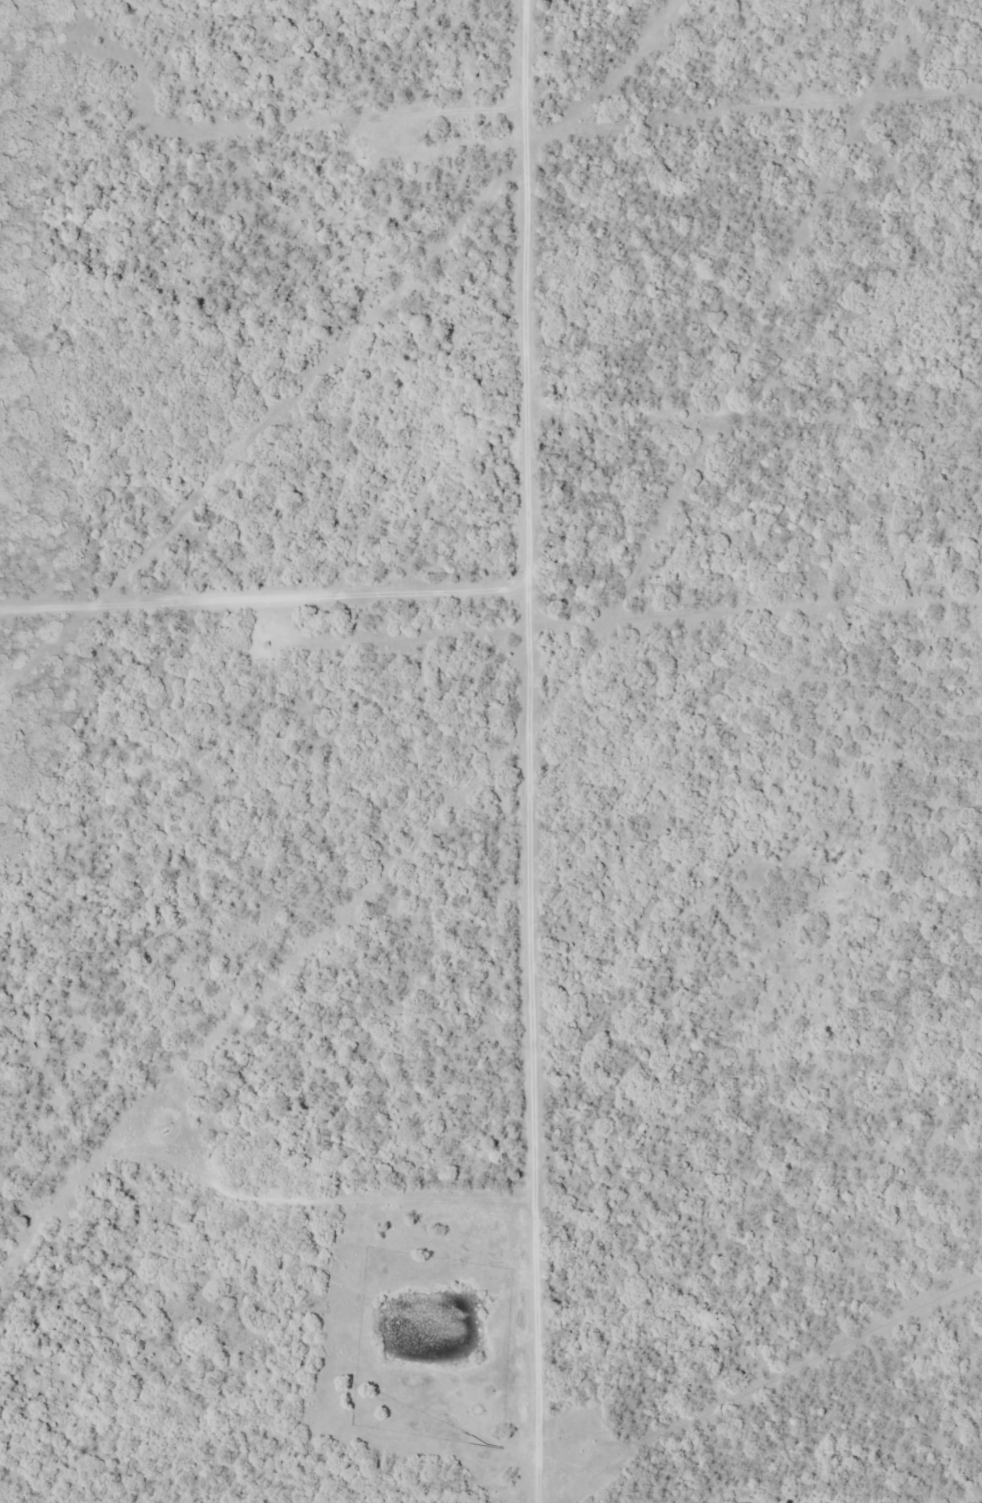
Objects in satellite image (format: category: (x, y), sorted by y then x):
road: (531, 751)

